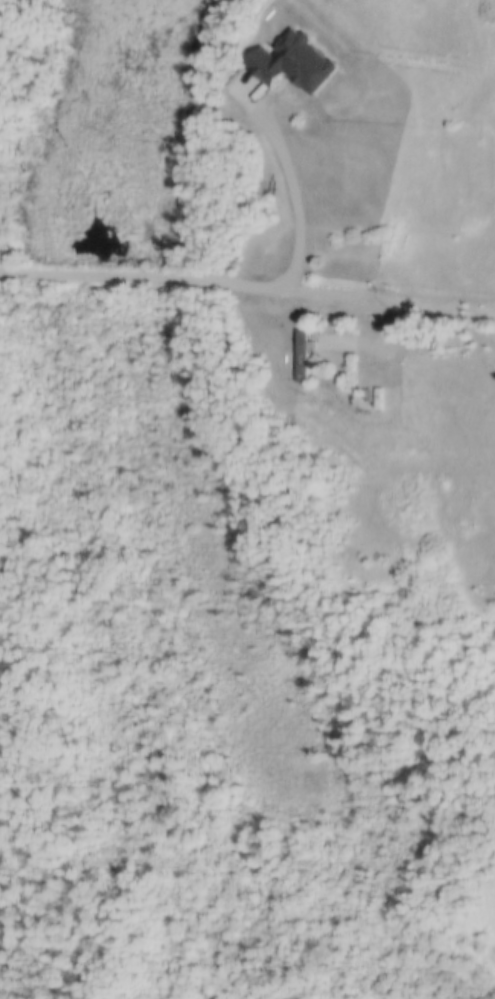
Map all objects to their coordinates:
building: (295, 58)
road: (298, 207)
road: (149, 276)
road: (360, 295)
building: (304, 350)
building: (364, 390)
building: (372, 391)

